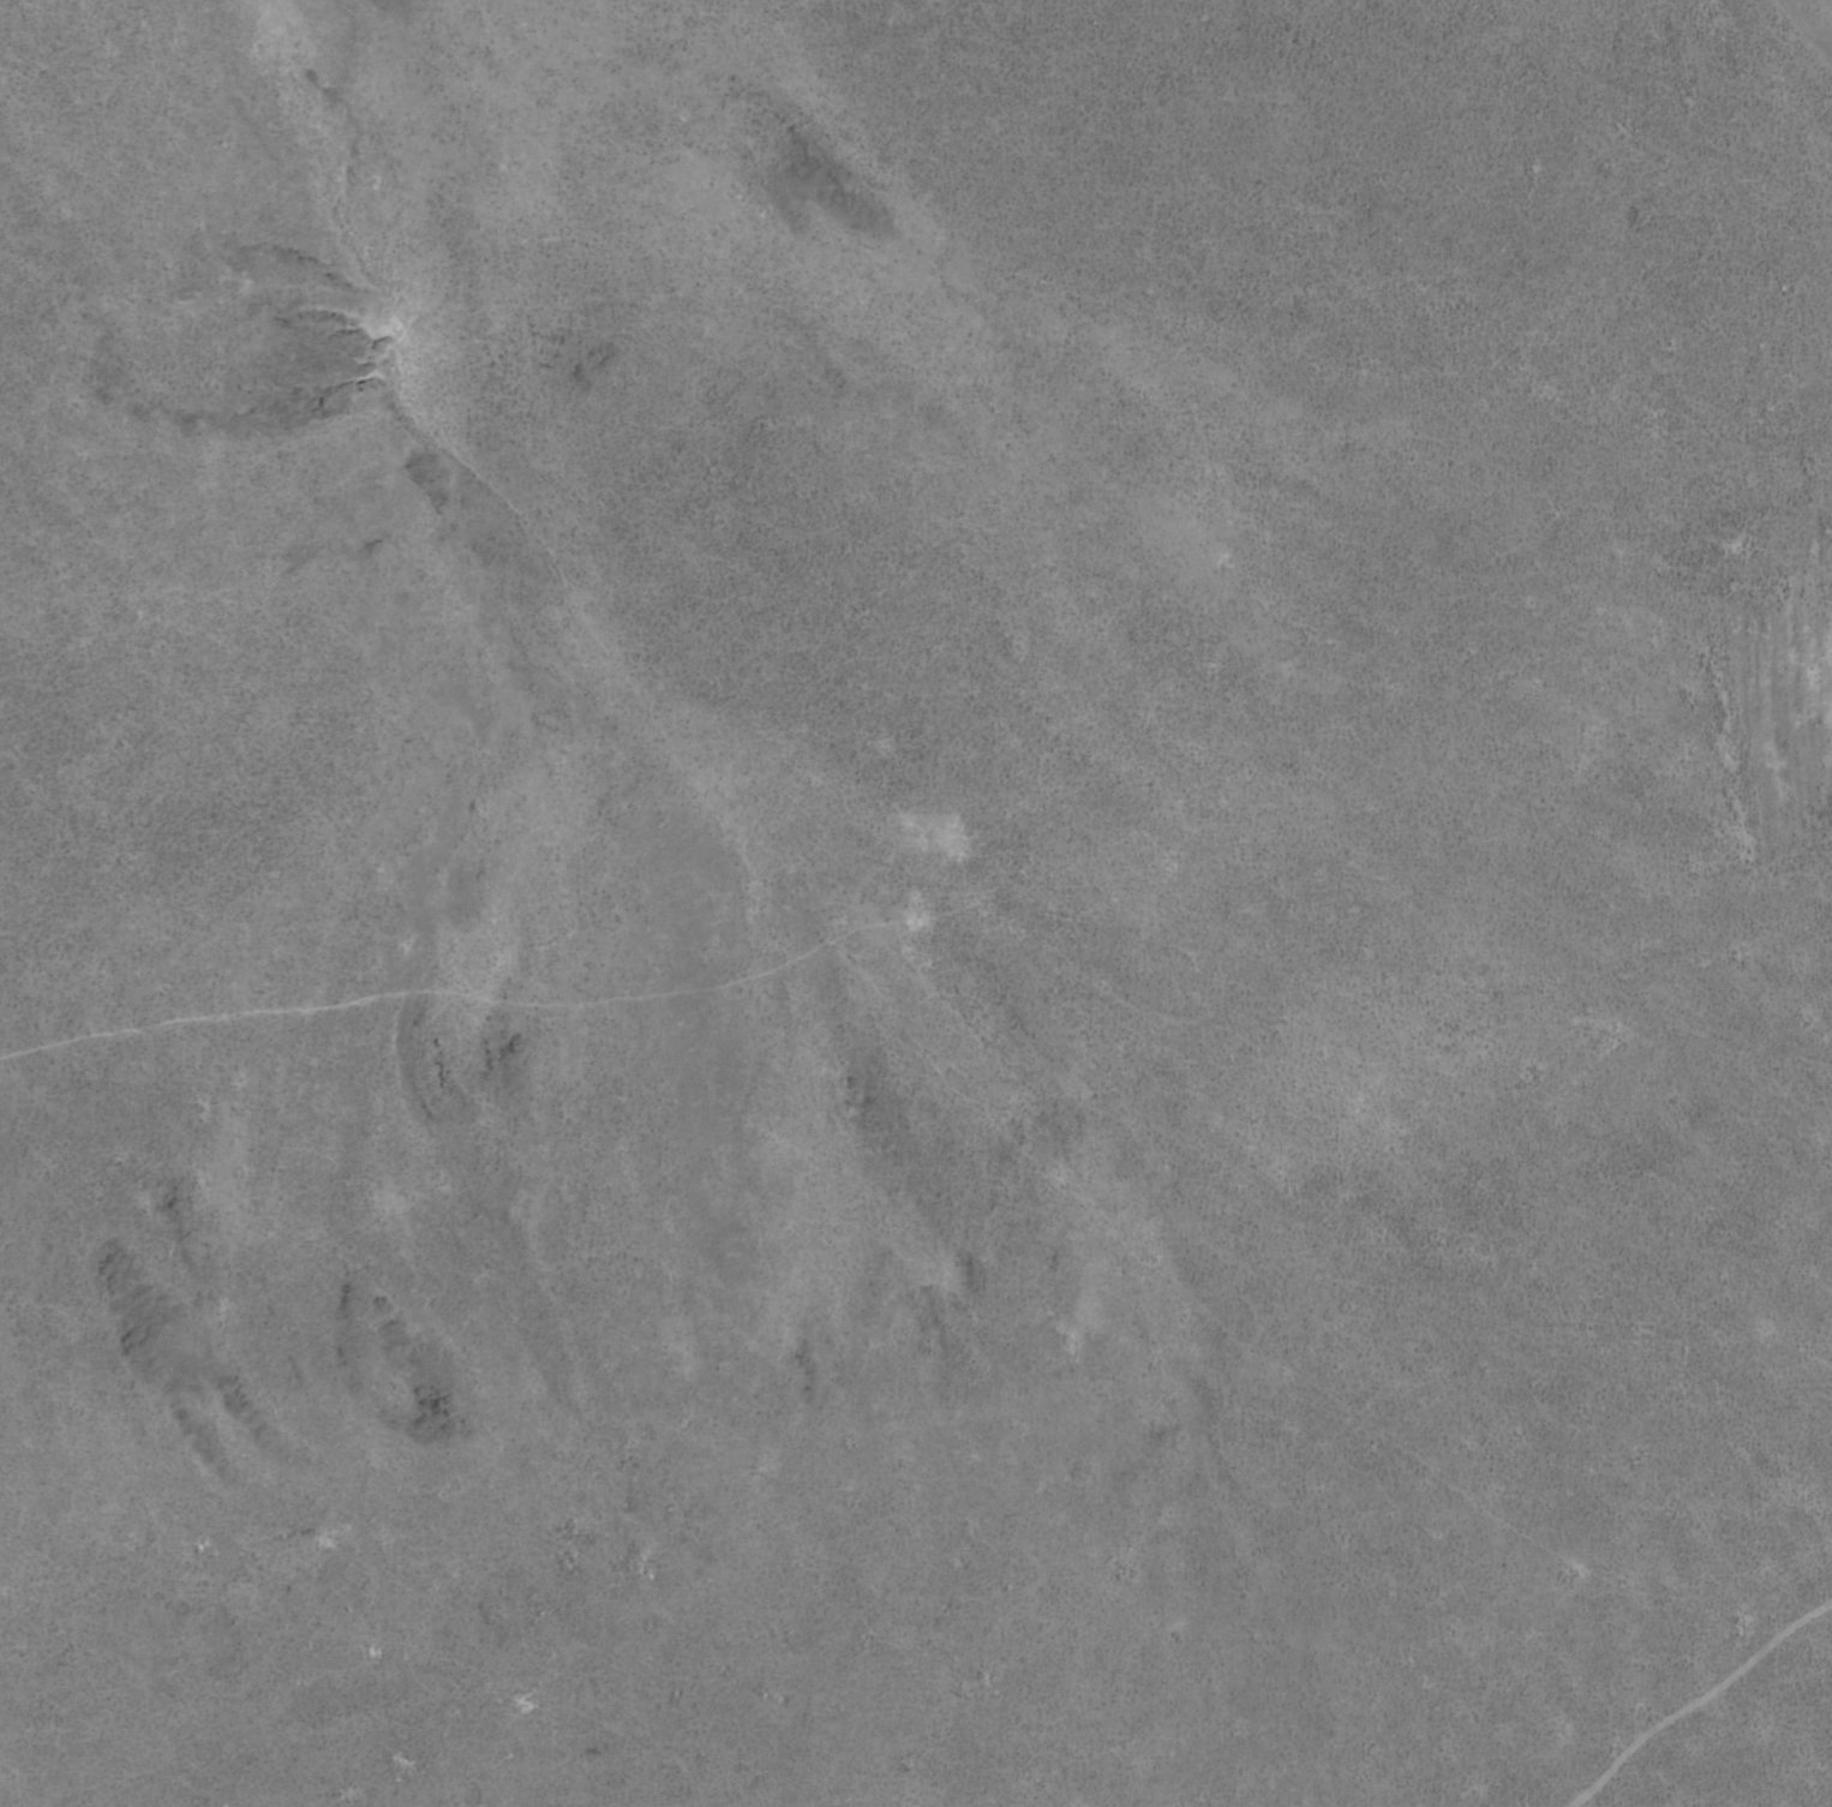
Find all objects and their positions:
road: (1660, 1593)

